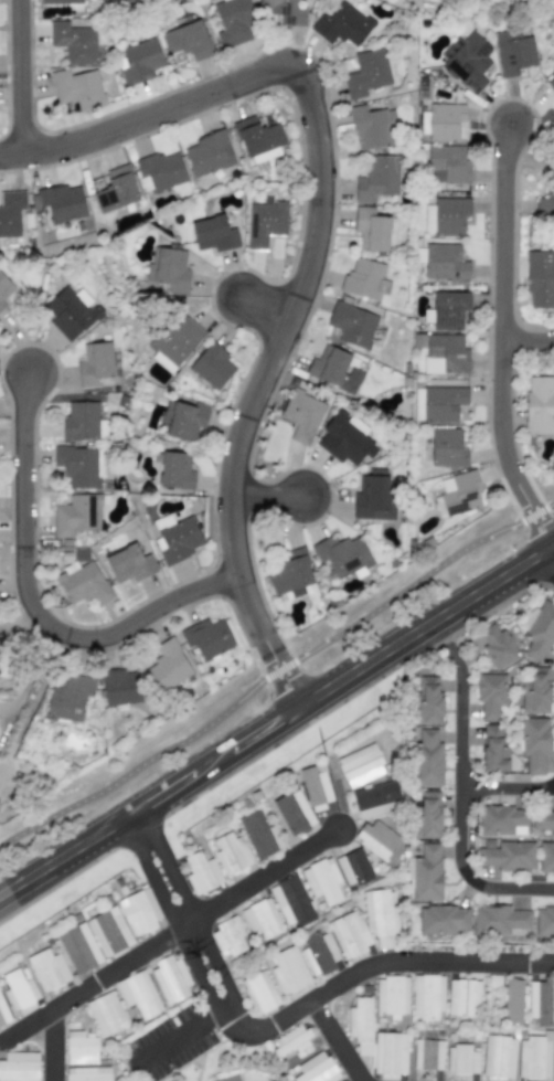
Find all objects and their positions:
building: (60, 1)
building: (111, 1)
building: (285, 11)
building: (233, 22)
building: (342, 24)
building: (187, 40)
building: (74, 42)
building: (512, 52)
building: (466, 60)
building: (138, 61)
building: (366, 73)
road: (20, 76)
building: (551, 84)
building: (77, 88)
building: (444, 121)
building: (372, 127)
building: (257, 136)
building: (209, 152)
building: (447, 163)
building: (376, 179)
building: (115, 190)
building: (545, 201)
building: (62, 202)
building: (10, 213)
building: (446, 215)
building: (265, 223)
building: (374, 229)
building: (213, 234)
road: (312, 242)
building: (445, 263)
building: (169, 271)
building: (364, 279)
building: (540, 279)
building: (6, 292)
road: (265, 308)
building: (448, 309)
building: (70, 312)
building: (351, 324)
road: (501, 338)
road: (528, 339)
building: (174, 342)
building: (445, 353)
building: (94, 363)
building: (211, 365)
building: (333, 369)
building: (441, 403)
building: (539, 404)
building: (301, 415)
building: (79, 420)
building: (183, 421)
building: (344, 441)
building: (447, 447)
building: (78, 466)
building: (174, 470)
building: (374, 496)
road: (266, 497)
building: (76, 515)
building: (162, 521)
building: (178, 540)
road: (552, 548)
building: (342, 555)
building: (128, 563)
building: (289, 572)
building: (83, 583)
road: (33, 604)
building: (539, 629)
building: (206, 637)
road: (443, 638)
building: (497, 645)
building: (0, 646)
building: (167, 666)
building: (0, 670)
road: (275, 671)
road: (32, 676)
park: (271, 676)
building: (119, 687)
building: (535, 691)
building: (490, 693)
building: (68, 698)
building: (427, 699)
road: (34, 704)
road: (277, 719)
building: (534, 743)
building: (493, 749)
building: (427, 760)
building: (360, 765)
road: (507, 785)
building: (315, 787)
building: (374, 798)
road: (459, 812)
building: (292, 813)
building: (426, 815)
building: (500, 819)
building: (543, 820)
building: (259, 834)
building: (375, 837)
building: (232, 854)
building: (505, 855)
building: (546, 857)
building: (353, 867)
building: (201, 872)
building: (426, 873)
building: (322, 880)
building: (290, 902)
building: (139, 911)
building: (380, 915)
building: (260, 918)
building: (441, 919)
building: (500, 920)
building: (544, 921)
building: (109, 932)
building: (350, 933)
road: (170, 935)
building: (227, 937)
building: (78, 947)
building: (319, 952)
road: (203, 958)
road: (427, 961)
building: (47, 969)
building: (288, 969)
building: (169, 979)
building: (19, 989)
building: (259, 992)
building: (139, 994)
building: (391, 995)
building: (426, 996)
building: (462, 997)
building: (512, 1000)
building: (540, 1001)
building: (3, 1014)
building: (106, 1014)
building: (360, 1025)
road: (180, 1034)
building: (290, 1039)
road: (335, 1040)
road: (53, 1045)
building: (79, 1047)
building: (390, 1053)
building: (427, 1054)
building: (498, 1057)
building: (533, 1057)
building: (462, 1059)
building: (19, 1067)
building: (316, 1069)
building: (553, 1070)
building: (87, 1073)
building: (227, 1078)
building: (553, 1079)

